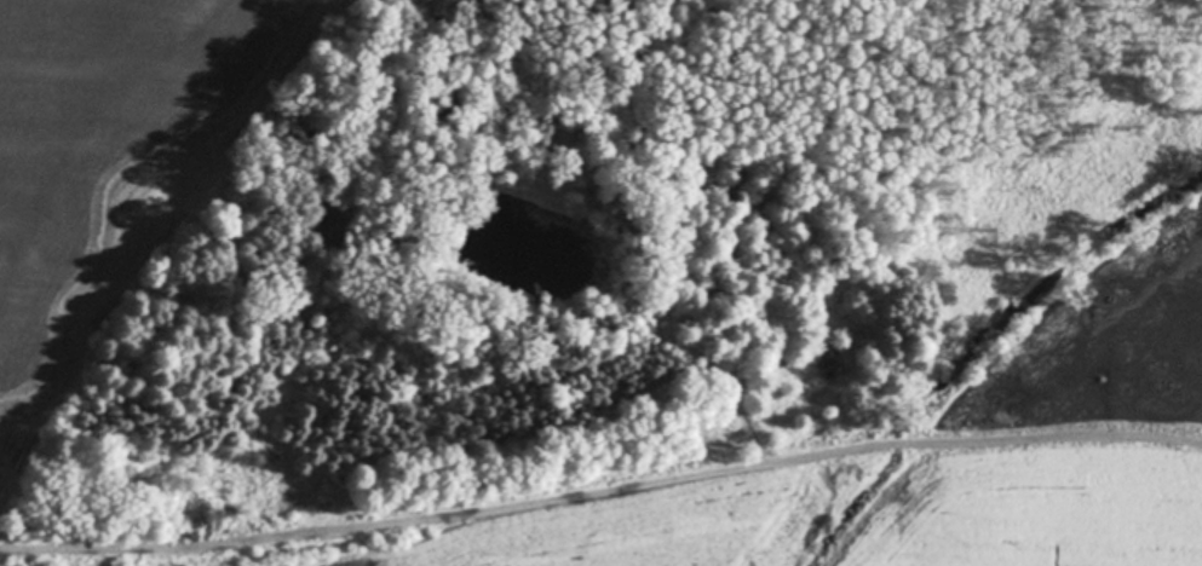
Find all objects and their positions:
road: (599, 485)

